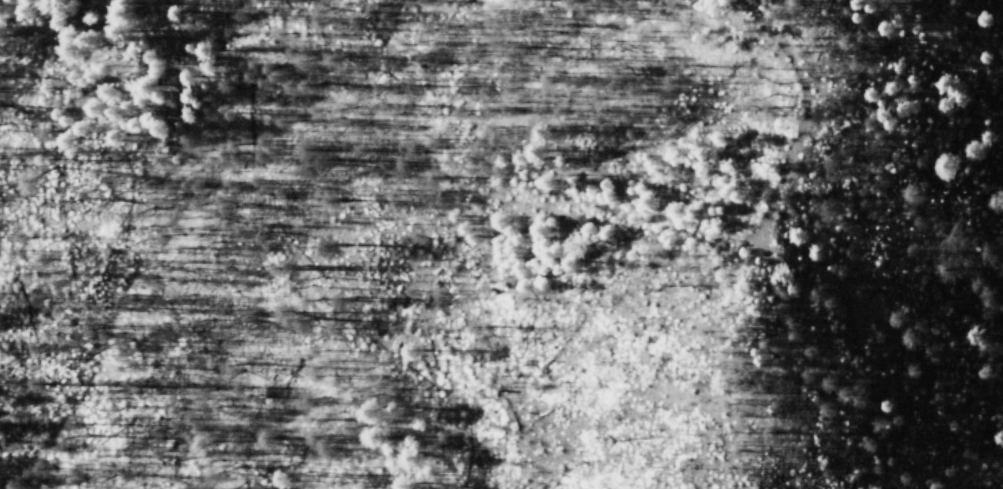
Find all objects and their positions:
road: (773, 25)

